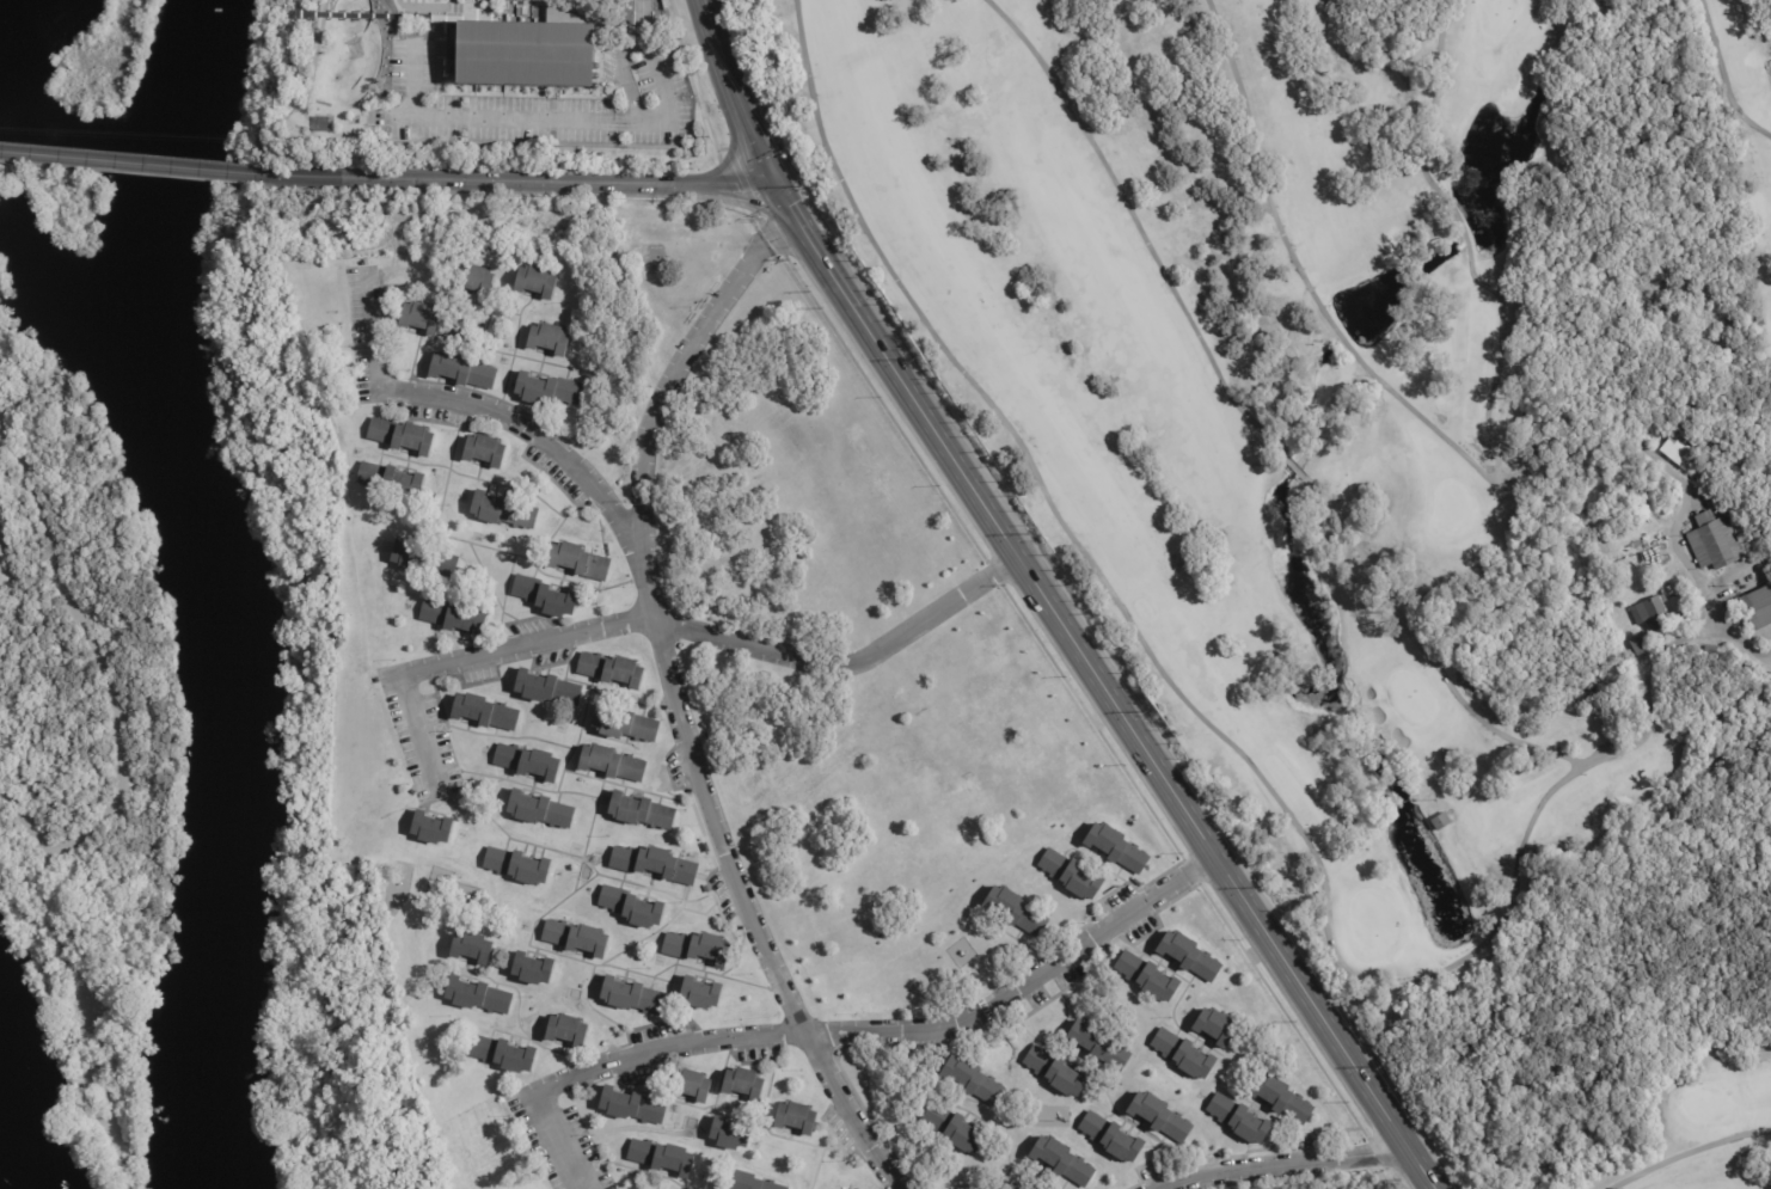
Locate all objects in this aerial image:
park: (1496, 16)
building: (440, 49)
building: (523, 54)
road: (624, 74)
road: (1722, 76)
road: (736, 90)
road: (570, 119)
road: (731, 137)
road: (139, 164)
road: (290, 174)
road: (538, 176)
traffic signals: (776, 178)
road: (742, 194)
park: (60, 195)
road: (771, 239)
building: (473, 278)
building: (537, 281)
park: (7, 290)
building: (431, 324)
road: (368, 330)
building: (549, 341)
road: (894, 368)
building: (462, 373)
building: (549, 391)
road: (1249, 419)
road: (533, 430)
road: (652, 433)
building: (402, 437)
building: (1683, 446)
building: (485, 449)
road: (1470, 461)
building: (391, 482)
park: (1389, 485)
park: (1450, 505)
building: (502, 511)
building: (1712, 540)
road: (14, 557)
building: (424, 559)
building: (578, 560)
river: (207, 588)
building: (545, 595)
building: (1757, 606)
building: (1653, 613)
building: (454, 619)
road: (539, 639)
building: (1641, 645)
road: (851, 664)
building: (612, 672)
road: (108, 688)
building: (547, 690)
park: (1410, 698)
building: (484, 713)
road: (417, 724)
building: (625, 725)
park: (84, 747)
road: (1240, 754)
building: (1451, 755)
building: (612, 762)
building: (528, 764)
road: (699, 777)
building: (540, 811)
building: (641, 813)
building: (1441, 822)
building: (431, 831)
building: (1117, 847)
road: (1213, 850)
building: (654, 863)
building: (517, 868)
building: (1071, 875)
building: (631, 908)
building: (1017, 911)
park: (1372, 919)
building: (576, 939)
building: (472, 945)
building: (697, 949)
building: (1185, 952)
building: (533, 970)
building: (1147, 976)
road: (780, 977)
road: (1025, 985)
building: (700, 994)
building: (478, 997)
building: (632, 998)
road: (93, 1017)
building: (1217, 1026)
building: (566, 1030)
building: (1098, 1044)
road: (664, 1049)
building: (1184, 1054)
building: (502, 1055)
building: (1056, 1072)
building: (974, 1080)
building: (743, 1083)
building: (691, 1084)
building: (1282, 1098)
park: (1703, 1103)
building: (632, 1107)
road: (848, 1111)
building: (797, 1115)
building: (1160, 1117)
building: (1240, 1120)
building: (955, 1129)
building: (730, 1132)
building: (1113, 1138)
road: (554, 1141)
road: (1687, 1152)
building: (661, 1158)
building: (1064, 1162)
road: (1285, 1166)
road: (1420, 1166)
building: (747, 1181)
building: (1015, 1185)

